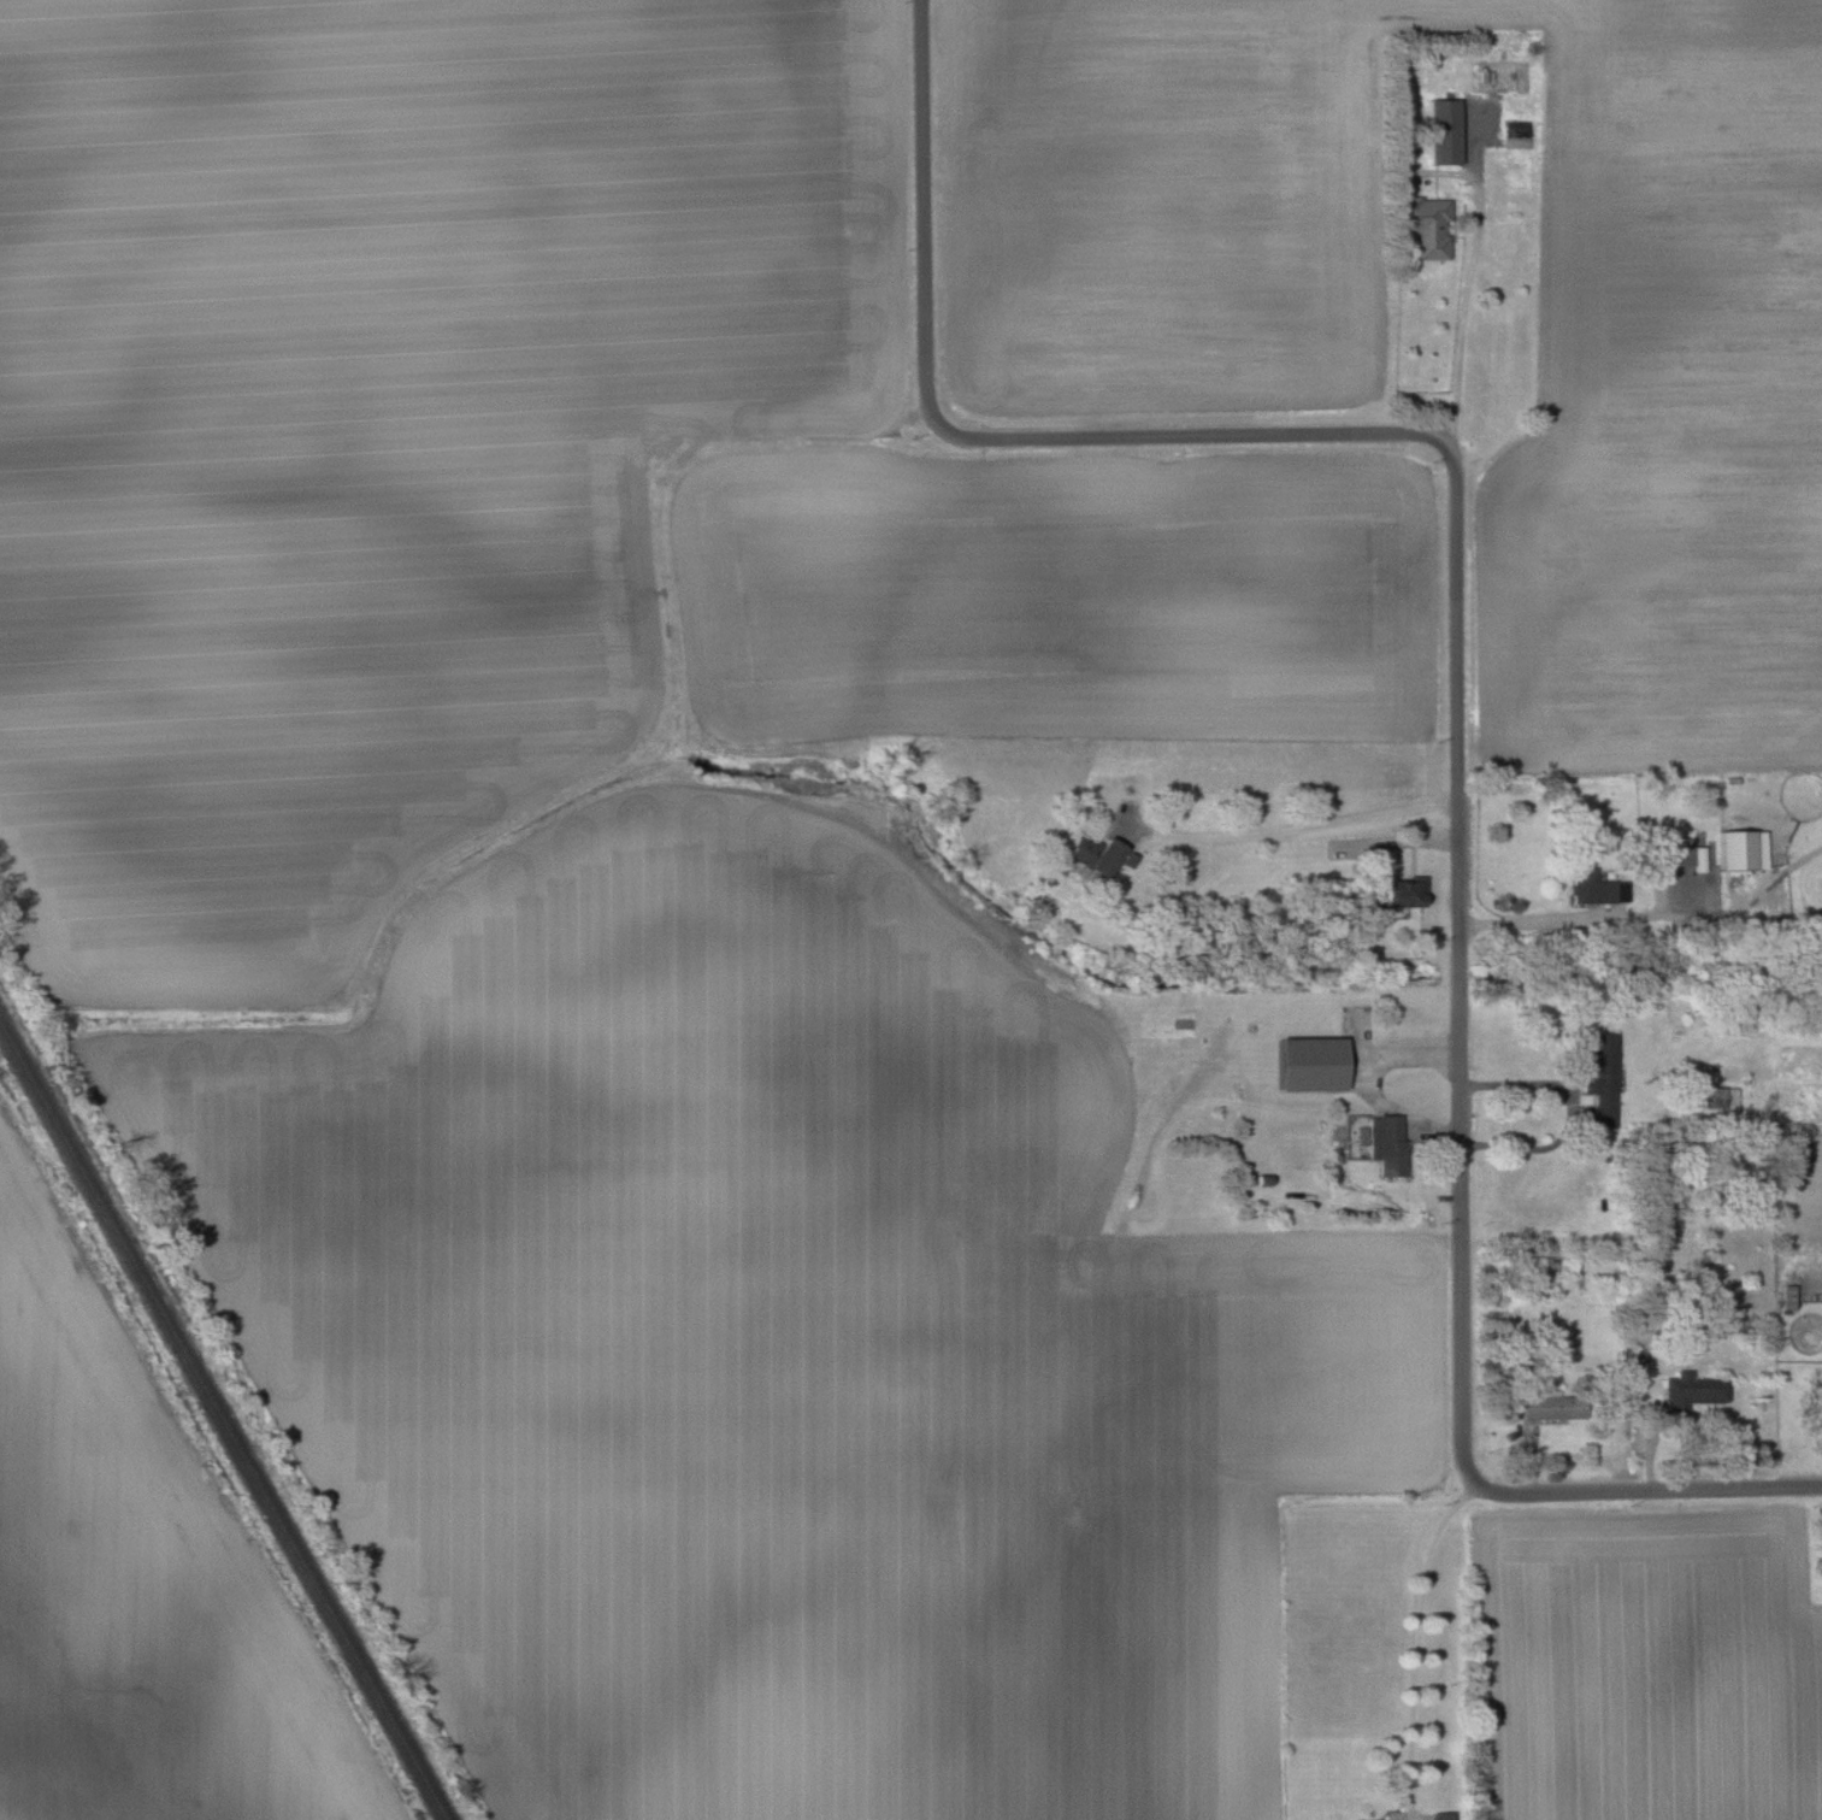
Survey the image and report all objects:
building: (1443, 131)
road: (933, 205)
building: (1427, 225)
road: (1460, 299)
road: (1195, 434)
road: (1292, 827)
road: (1394, 842)
building: (1736, 848)
building: (1095, 853)
building: (1679, 859)
building: (1596, 887)
building: (1401, 894)
road: (1650, 914)
road: (1461, 962)
building: (1309, 1062)
road: (1361, 1076)
building: (1602, 1078)
road: (1574, 1113)
building: (1386, 1143)
building: (1691, 1391)
building: (1550, 1404)
railway: (222, 1424)
road: (1485, 1486)
road: (1665, 1488)
road: (1408, 1641)
building: (1441, 1815)

